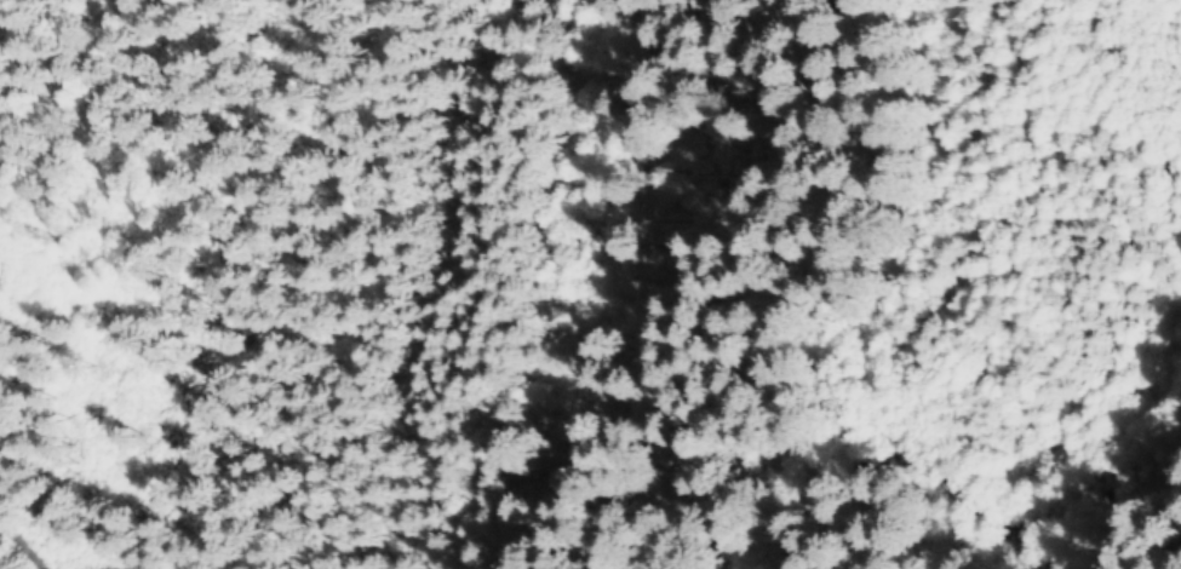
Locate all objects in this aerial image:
road: (1130, 455)
road: (33, 479)
road: (979, 508)

